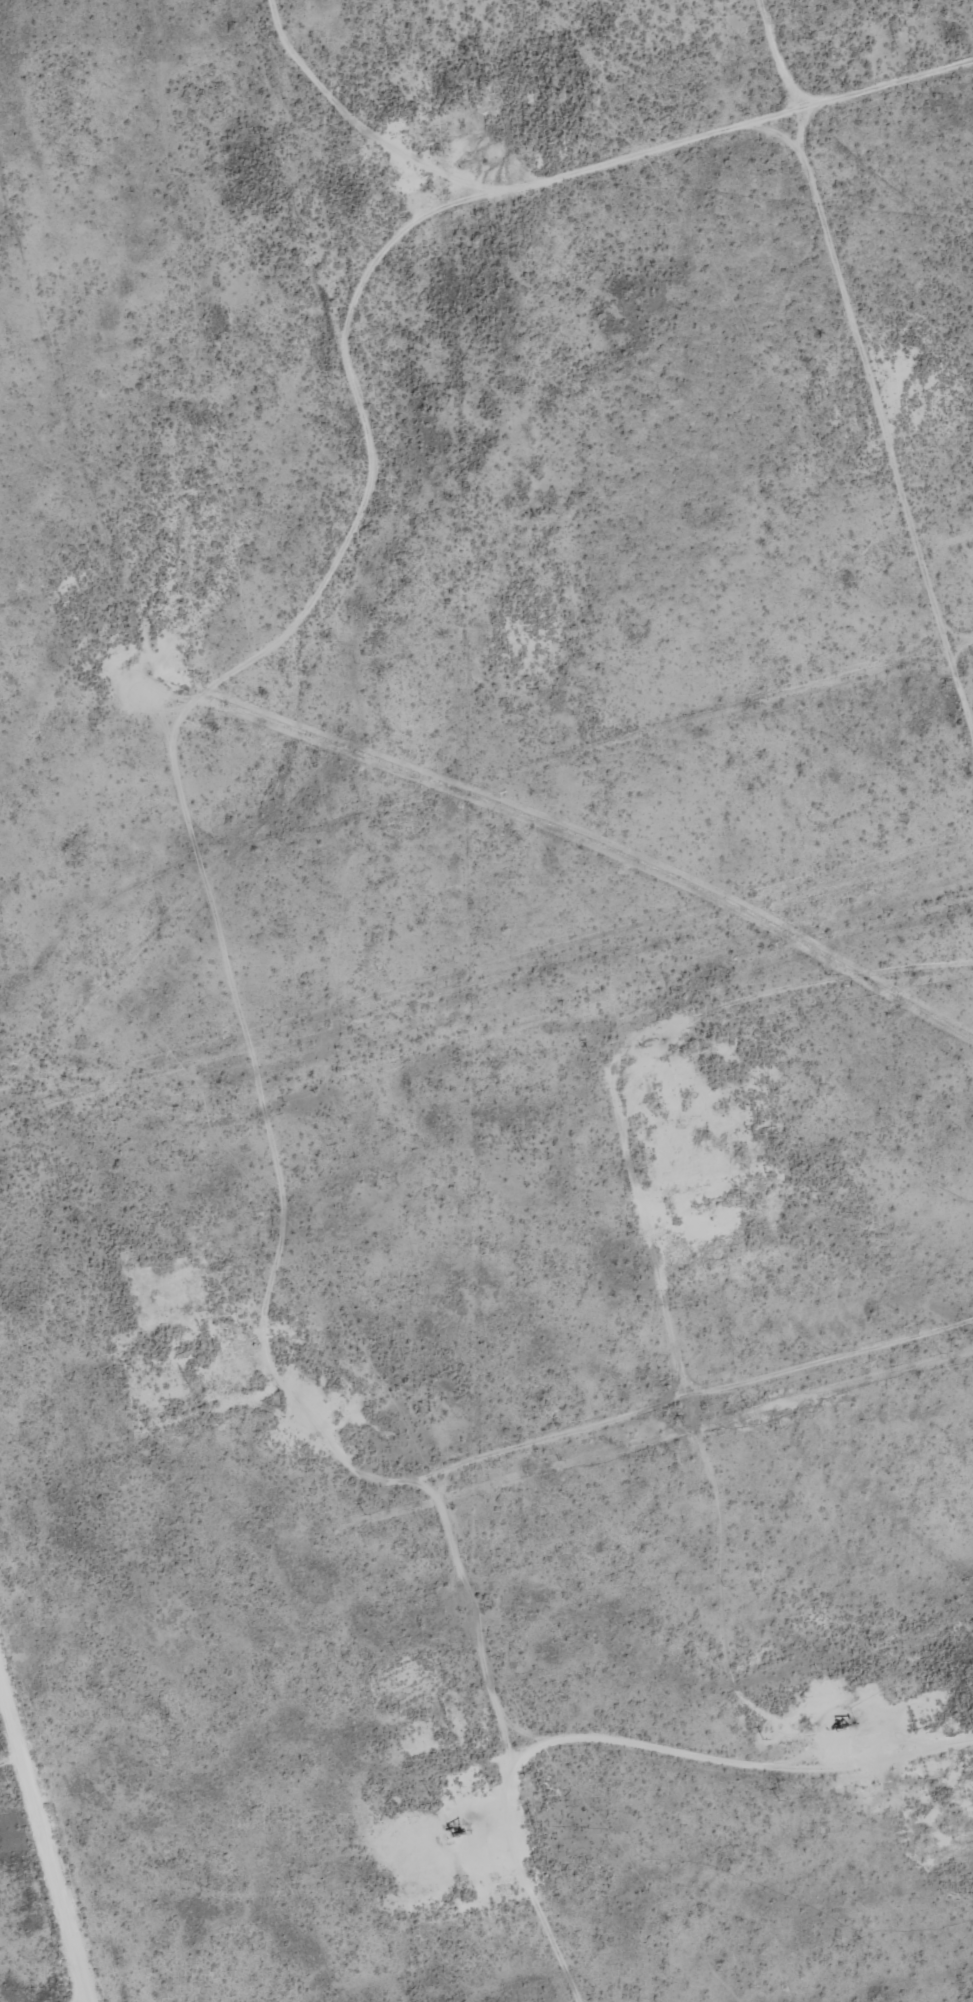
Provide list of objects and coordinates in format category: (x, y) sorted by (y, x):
road: (859, 106)
road: (942, 1740)
road: (47, 1861)

